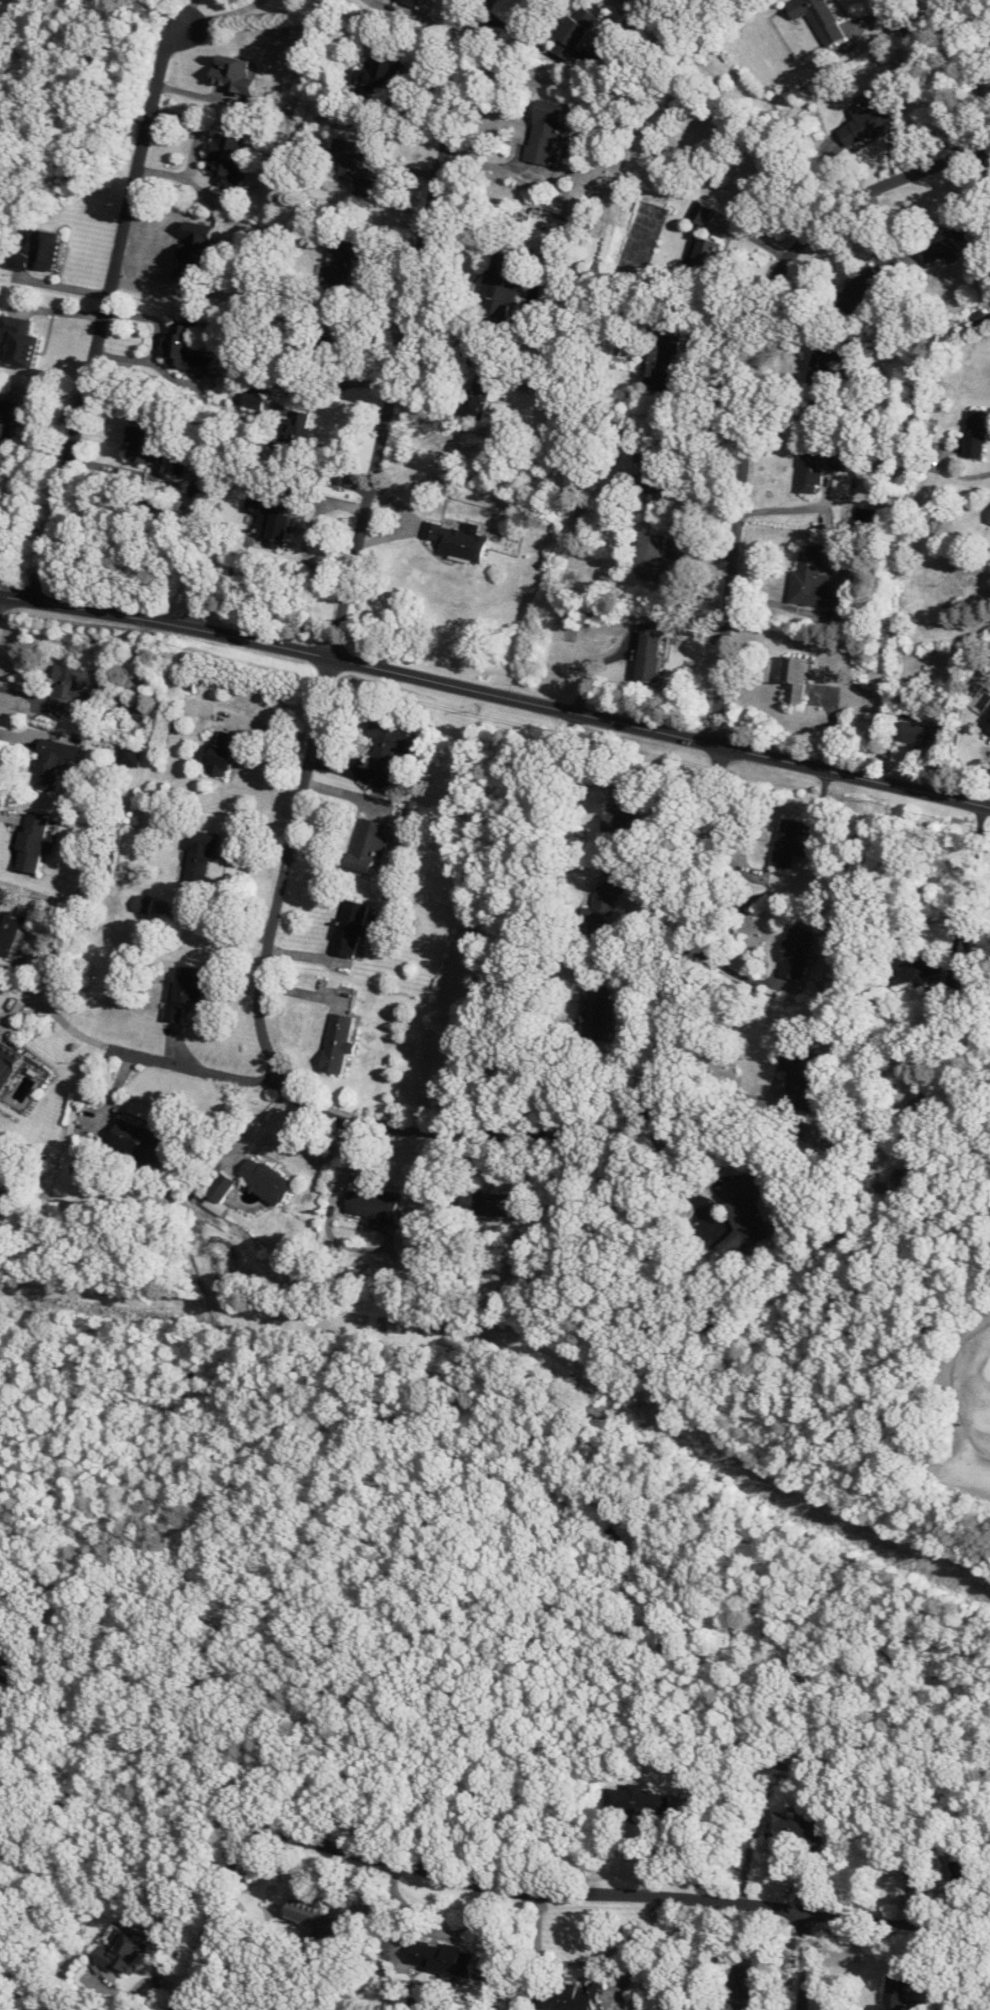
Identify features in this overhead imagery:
building: (413, 1)
building: (817, 19)
building: (573, 33)
building: (387, 72)
building: (238, 74)
road: (931, 75)
building: (869, 120)
building: (547, 132)
building: (232, 161)
building: (358, 165)
building: (701, 214)
building: (943, 245)
building: (45, 251)
building: (702, 257)
building: (198, 258)
building: (343, 264)
building: (501, 284)
building: (858, 289)
road: (108, 293)
road: (407, 326)
road: (452, 335)
building: (27, 342)
building: (189, 350)
building: (662, 363)
building: (818, 381)
road: (748, 382)
building: (479, 388)
building: (249, 400)
building: (11, 420)
building: (295, 434)
building: (975, 434)
building: (147, 446)
building: (653, 463)
building: (819, 464)
road: (961, 475)
road: (792, 507)
building: (989, 520)
building: (270, 522)
building: (464, 543)
building: (651, 559)
building: (812, 580)
building: (649, 656)
building: (794, 678)
building: (70, 691)
road: (496, 693)
building: (985, 723)
building: (919, 734)
building: (388, 743)
building: (220, 753)
building: (55, 761)
building: (626, 803)
building: (36, 842)
building: (786, 842)
building: (368, 847)
building: (197, 861)
building: (601, 914)
road: (958, 926)
building: (350, 928)
building: (11, 932)
building: (796, 953)
building: (914, 970)
road: (738, 974)
building: (183, 991)
road: (47, 1006)
building: (597, 1007)
building: (337, 1043)
road: (185, 1065)
building: (9, 1070)
building: (801, 1072)
road: (717, 1083)
building: (917, 1101)
road: (426, 1136)
building: (146, 1143)
road: (661, 1160)
building: (265, 1179)
building: (903, 1179)
building: (220, 1188)
building: (371, 1205)
building: (499, 1205)
building: (742, 1208)
park: (956, 1419)
road: (175, 1641)
building: (1, 1654)
building: (12, 1689)
building: (638, 1800)
building: (793, 1829)
road: (566, 1893)
road: (858, 1916)
building: (318, 1918)
road: (216, 1920)
road: (436, 1930)
building: (129, 1951)
building: (440, 1957)
road: (587, 1963)
road: (149, 1980)
road: (111, 1988)
building: (895, 1994)
building: (568, 1997)

